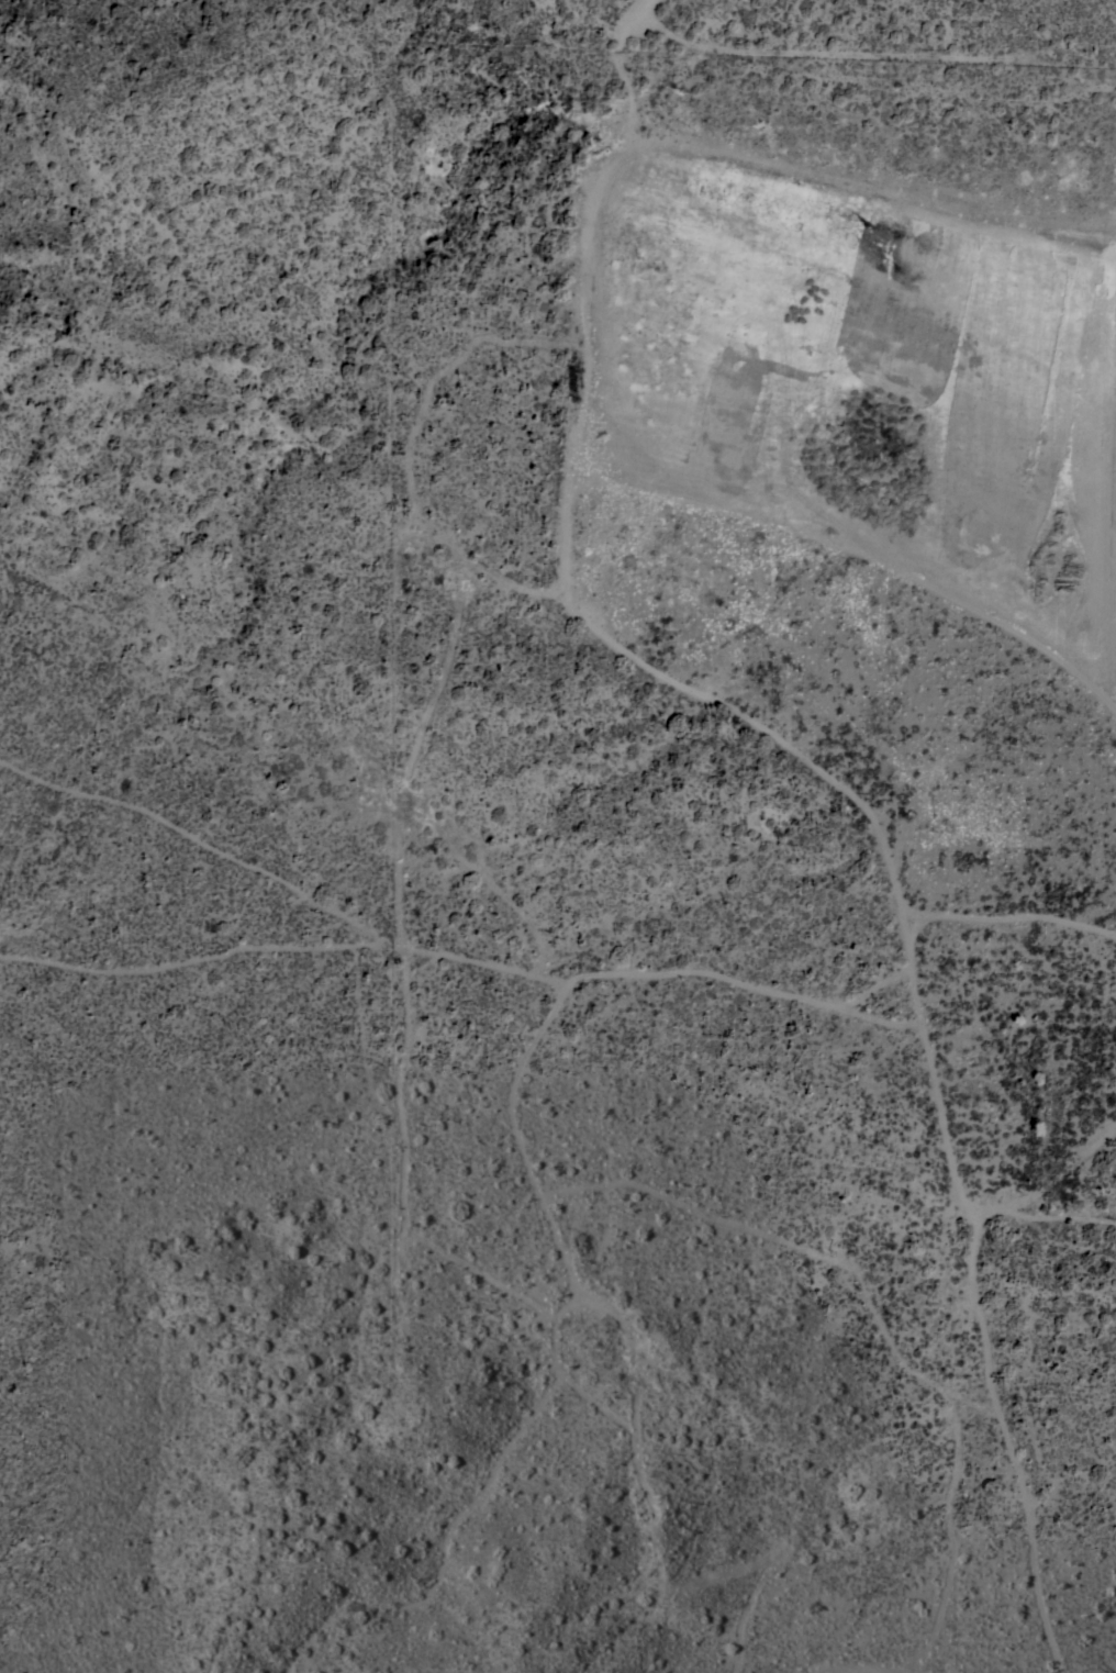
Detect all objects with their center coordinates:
crop: (892, 569)

